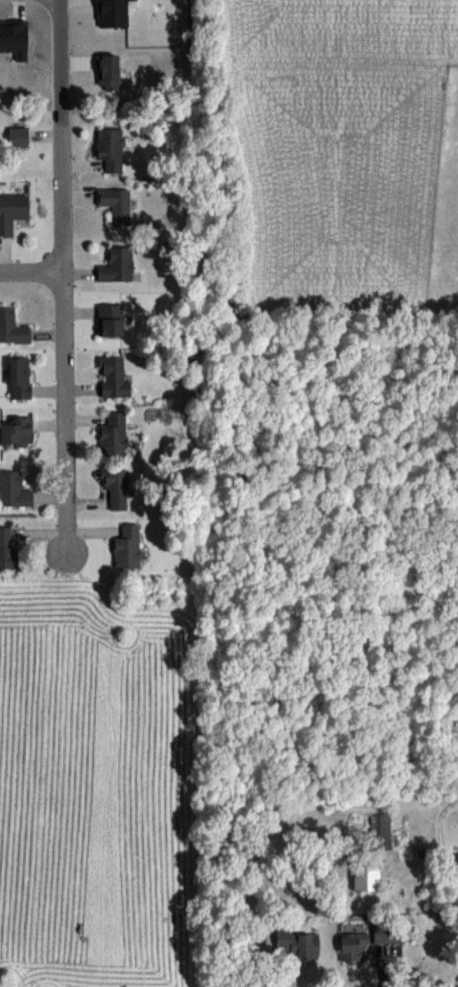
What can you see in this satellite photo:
road: (61, 56)
building: (18, 137)
building: (110, 148)
building: (115, 203)
building: (11, 211)
building: (116, 264)
road: (32, 266)
building: (109, 319)
building: (12, 326)
road: (64, 335)
building: (19, 376)
building: (113, 377)
building: (16, 430)
building: (113, 435)
building: (13, 489)
building: (115, 489)
building: (7, 546)
building: (127, 546)
crop: (102, 780)
building: (365, 873)
building: (386, 941)
building: (295, 943)
building: (353, 947)

